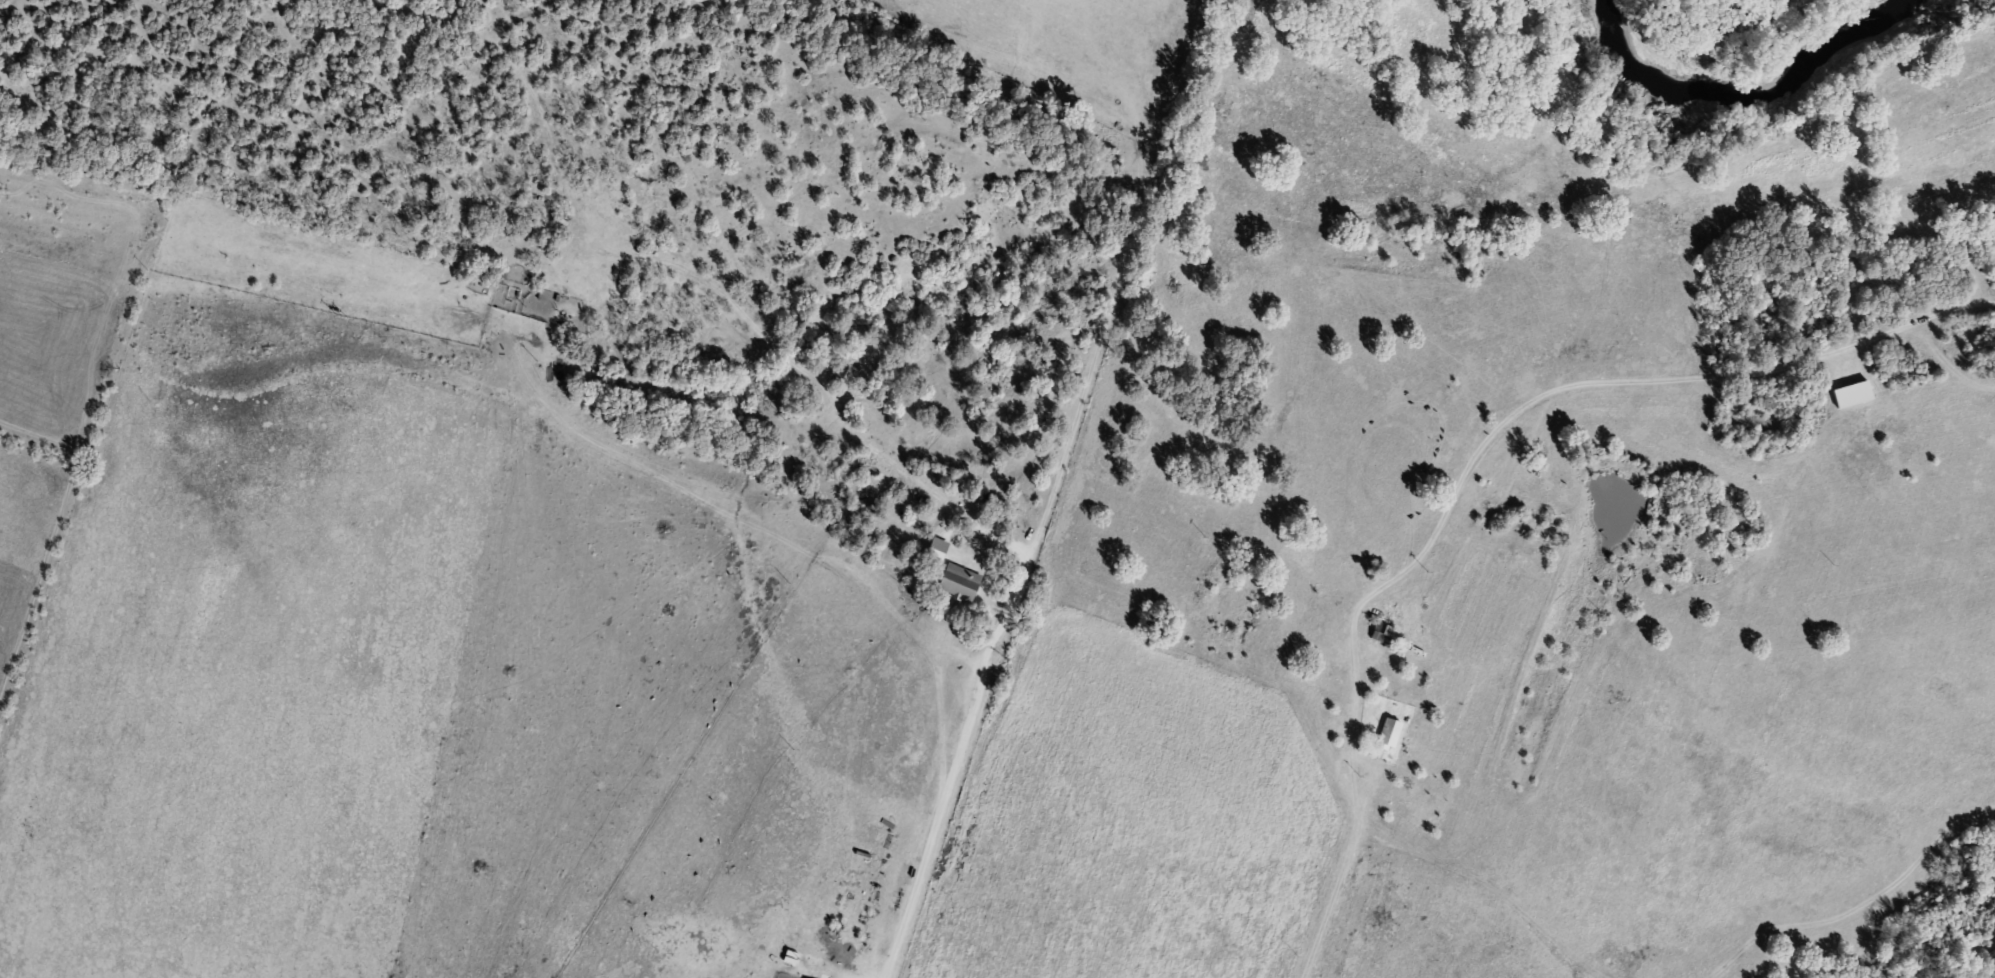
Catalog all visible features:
river: (1733, 89)
building: (841, 373)
building: (1855, 396)
building: (961, 584)
building: (1384, 636)
building: (1391, 737)

